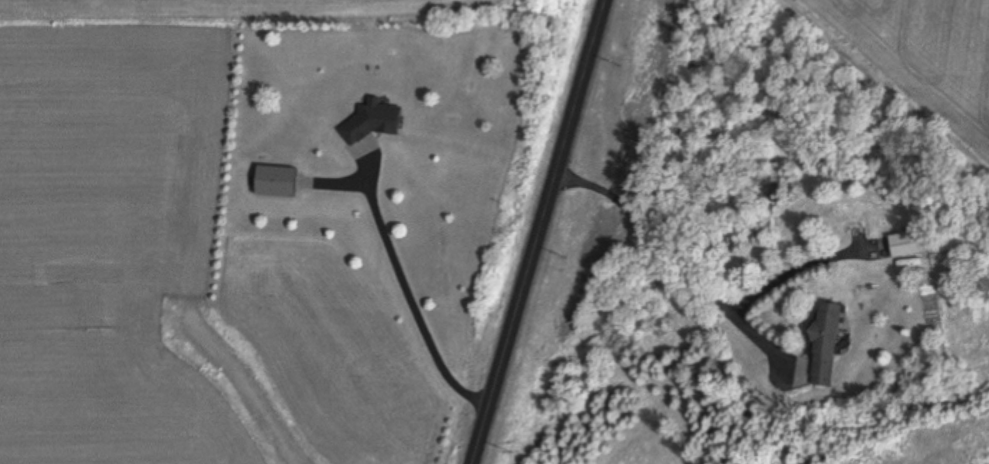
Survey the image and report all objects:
building: (371, 123)
building: (284, 182)
road: (534, 232)
building: (915, 244)
road: (676, 260)
road: (410, 291)
building: (962, 302)
building: (827, 347)

